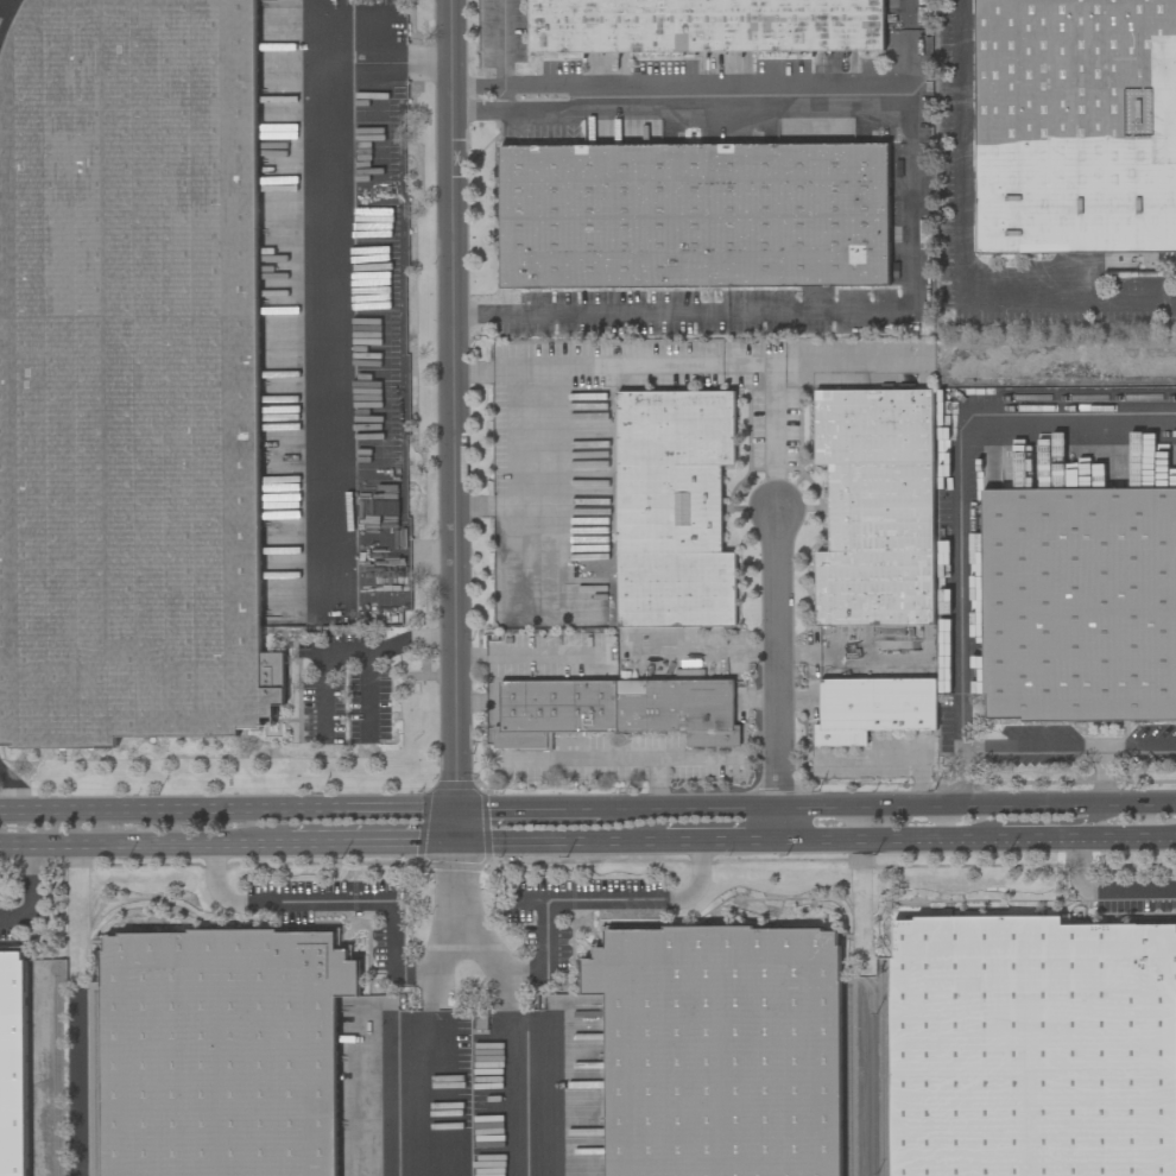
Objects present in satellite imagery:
railway: (8, 20)
building: (704, 26)
road: (505, 42)
road: (719, 84)
building: (1075, 126)
road: (915, 210)
building: (694, 215)
road: (966, 242)
road: (329, 267)
road: (521, 372)
building: (129, 375)
road: (550, 402)
road: (774, 412)
road: (455, 424)
road: (966, 485)
building: (875, 507)
building: (672, 508)
road: (394, 555)
building: (1079, 605)
road: (347, 653)
road: (523, 657)
road: (777, 658)
building: (849, 674)
road: (366, 696)
building: (872, 708)
building: (615, 710)
road: (1140, 747)
road: (1035, 750)
road: (622, 758)
road: (896, 758)
road: (1105, 777)
road: (966, 778)
road: (659, 784)
road: (976, 807)
road: (717, 809)
road: (529, 810)
road: (628, 810)
road: (229, 811)
traffic signals: (460, 811)
road: (1039, 823)
road: (778, 828)
road: (976, 845)
road: (738, 847)
road: (565, 848)
road: (683, 848)
road: (375, 849)
traffic signals: (461, 849)
road: (144, 851)
road: (27, 886)
road: (1107, 889)
road: (558, 902)
road: (393, 912)
road: (8, 919)
building: (1032, 1048)
building: (720, 1050)
building: (221, 1052)
building: (13, 1063)
road: (504, 1074)
railway: (55, 1075)
road: (429, 1075)
railway: (883, 1075)
railway: (847, 1080)
railway: (96, 1083)

